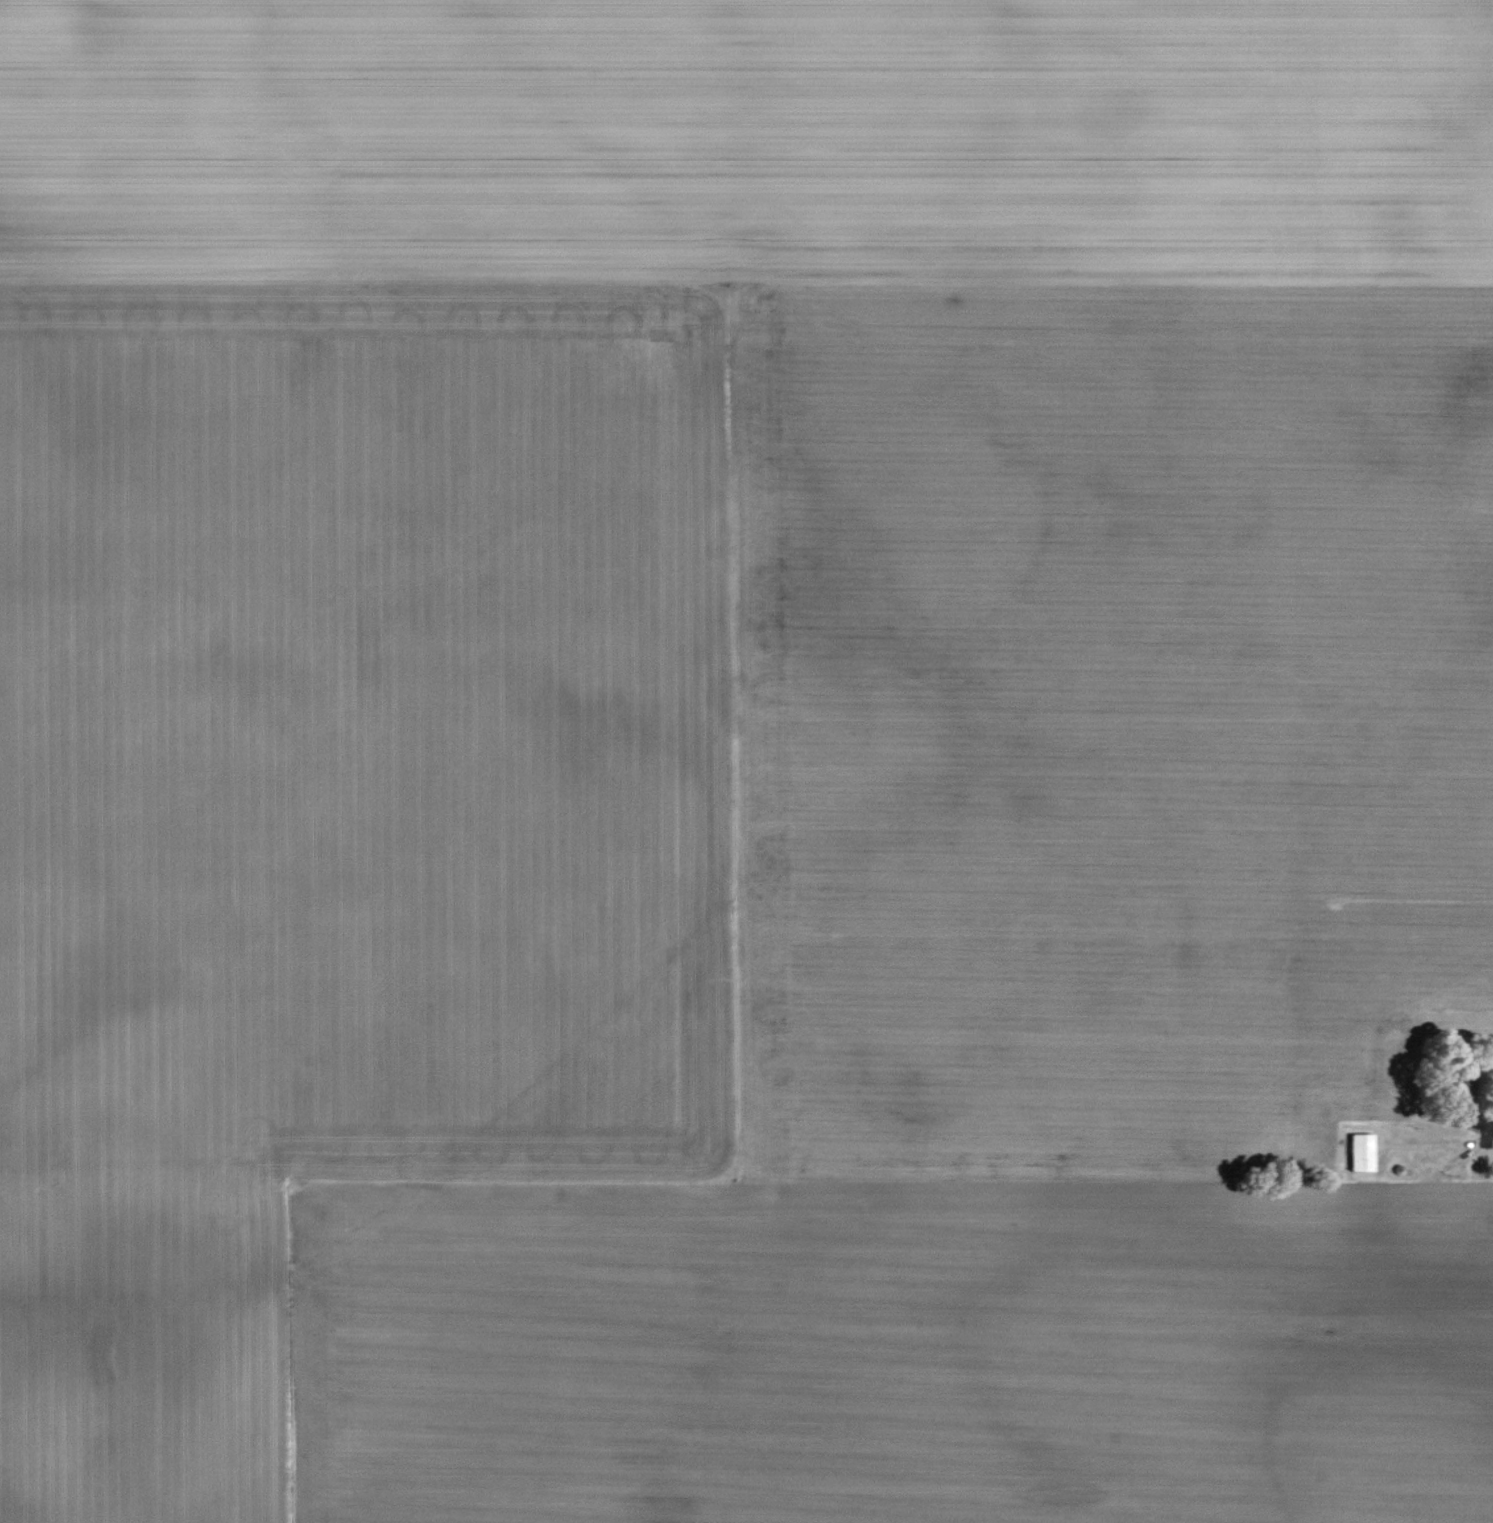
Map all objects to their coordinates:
building: (1452, 1107)
road: (1491, 1122)
building: (1357, 1152)

